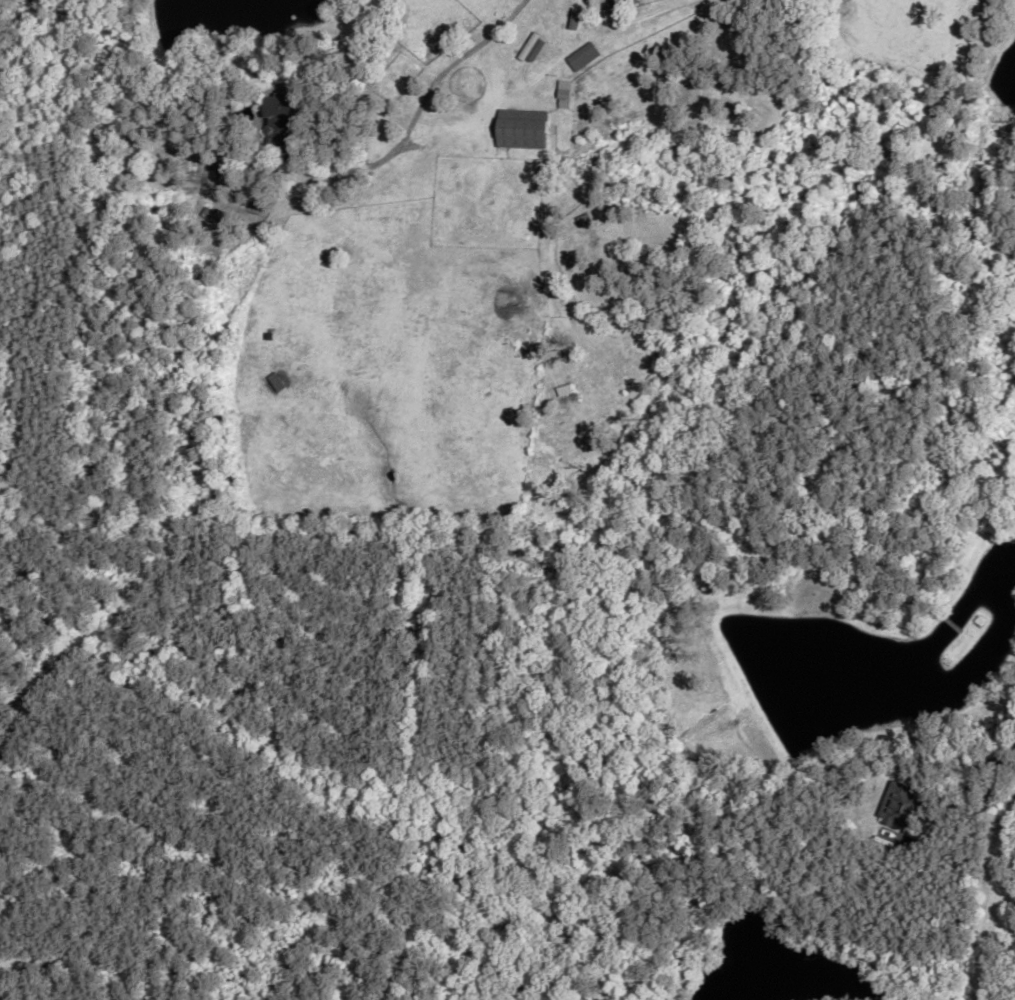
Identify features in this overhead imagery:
building: (582, 56)
building: (279, 122)
building: (520, 128)
building: (212, 215)
building: (275, 382)
building: (900, 805)

